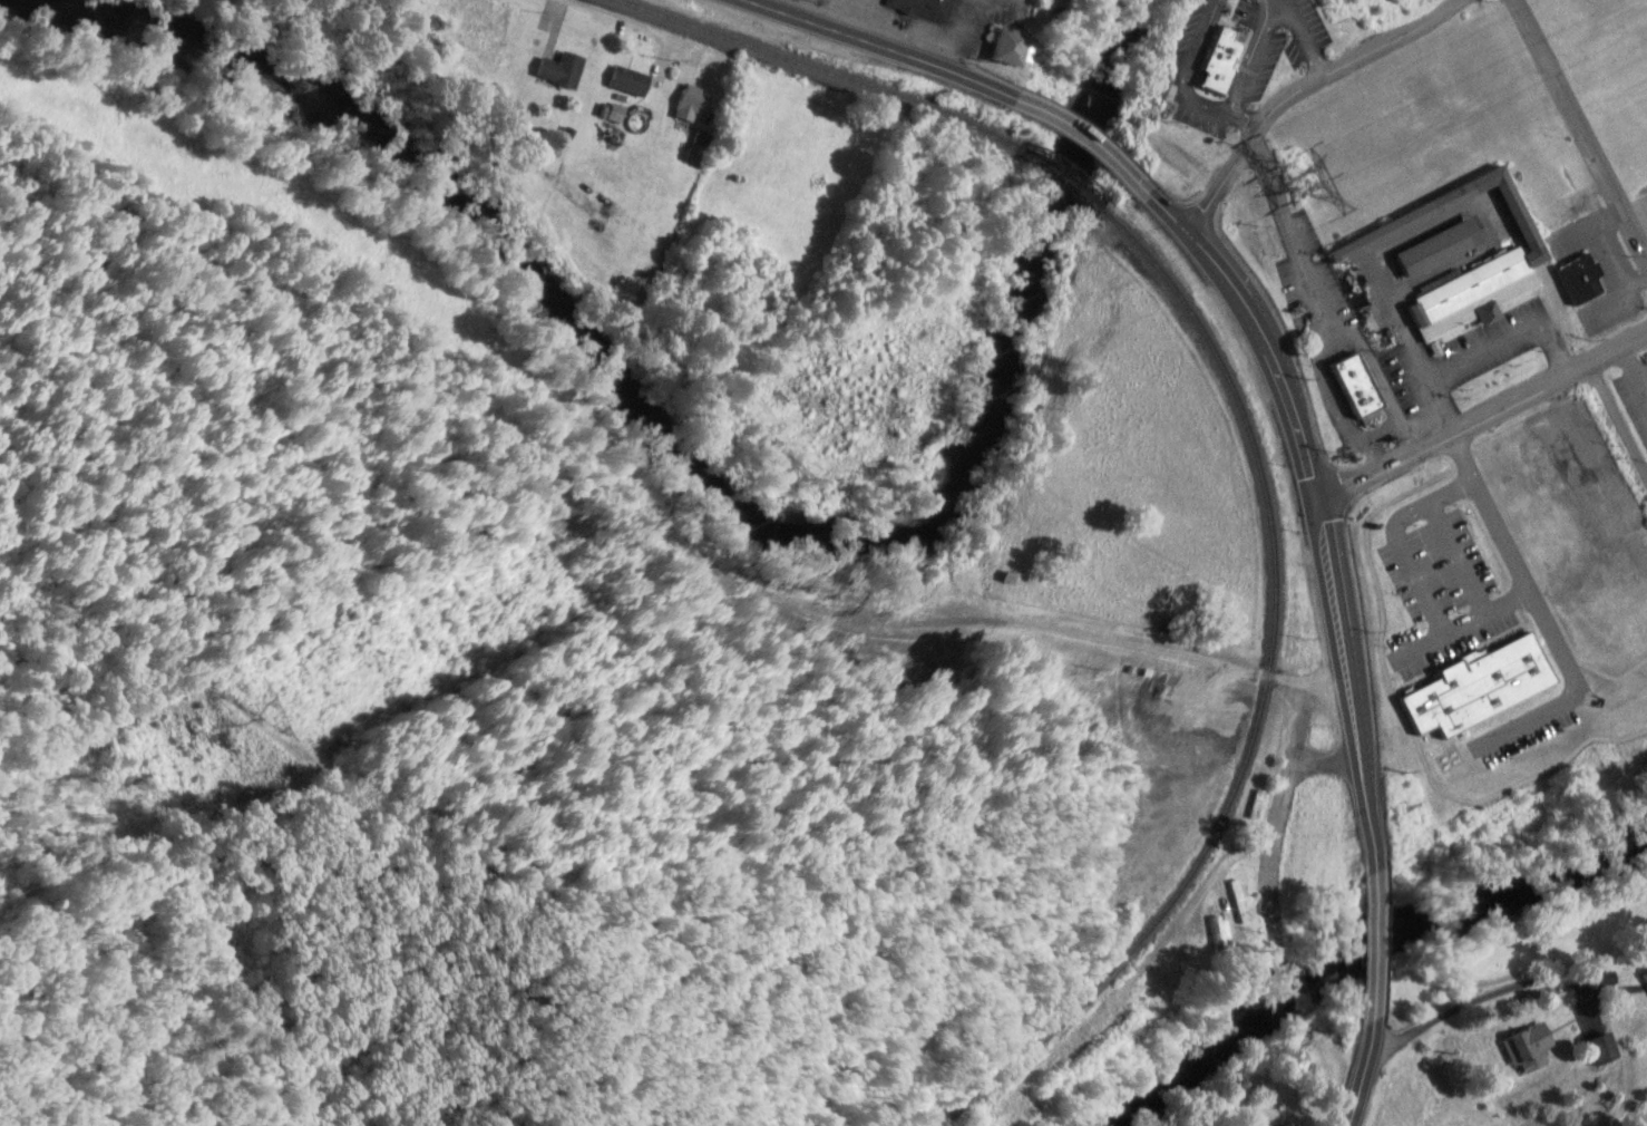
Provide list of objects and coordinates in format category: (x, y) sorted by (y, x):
road: (784, 4)
building: (927, 7)
road: (632, 22)
building: (484, 26)
building: (1017, 45)
road: (886, 48)
building: (1226, 59)
building: (564, 67)
railway: (826, 68)
building: (1240, 72)
building: (632, 79)
road: (1300, 86)
building: (695, 103)
road: (1091, 137)
building: (700, 145)
railway: (1070, 172)
power tower: (1305, 182)
building: (1417, 216)
building: (1444, 245)
building: (1583, 278)
building: (1373, 399)
road: (1488, 412)
road: (1616, 423)
river: (701, 478)
road: (1328, 504)
building: (1536, 531)
building: (1571, 590)
road: (1166, 649)
building: (1608, 656)
railway: (1261, 706)
power tower: (280, 717)
road: (1286, 792)
building: (1258, 805)
road: (1235, 853)
building: (1220, 934)
road: (1384, 944)
river: (1370, 968)
road: (1510, 984)
building: (1529, 1045)
building: (1605, 1047)
road: (1365, 1074)

